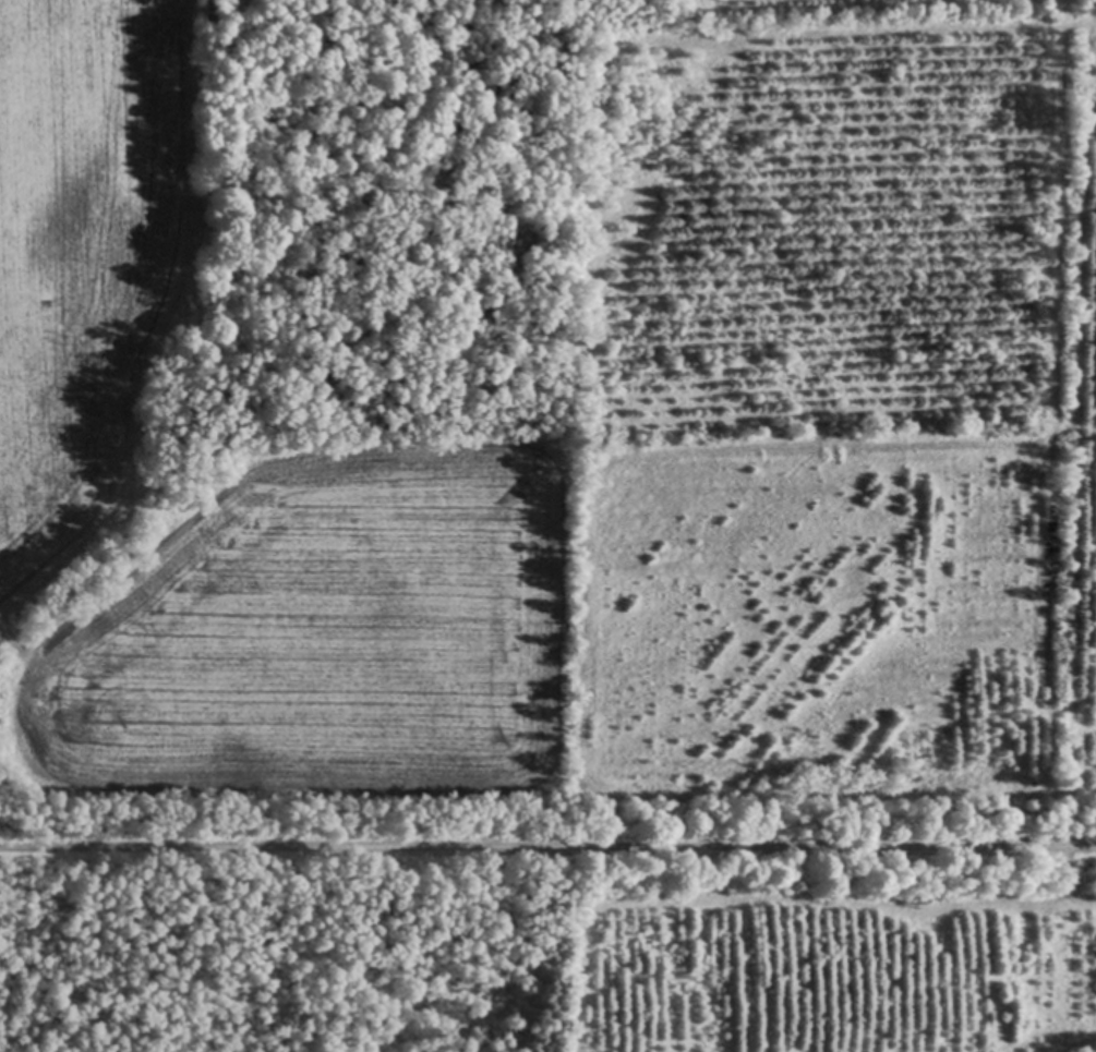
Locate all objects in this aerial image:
road: (547, 845)

